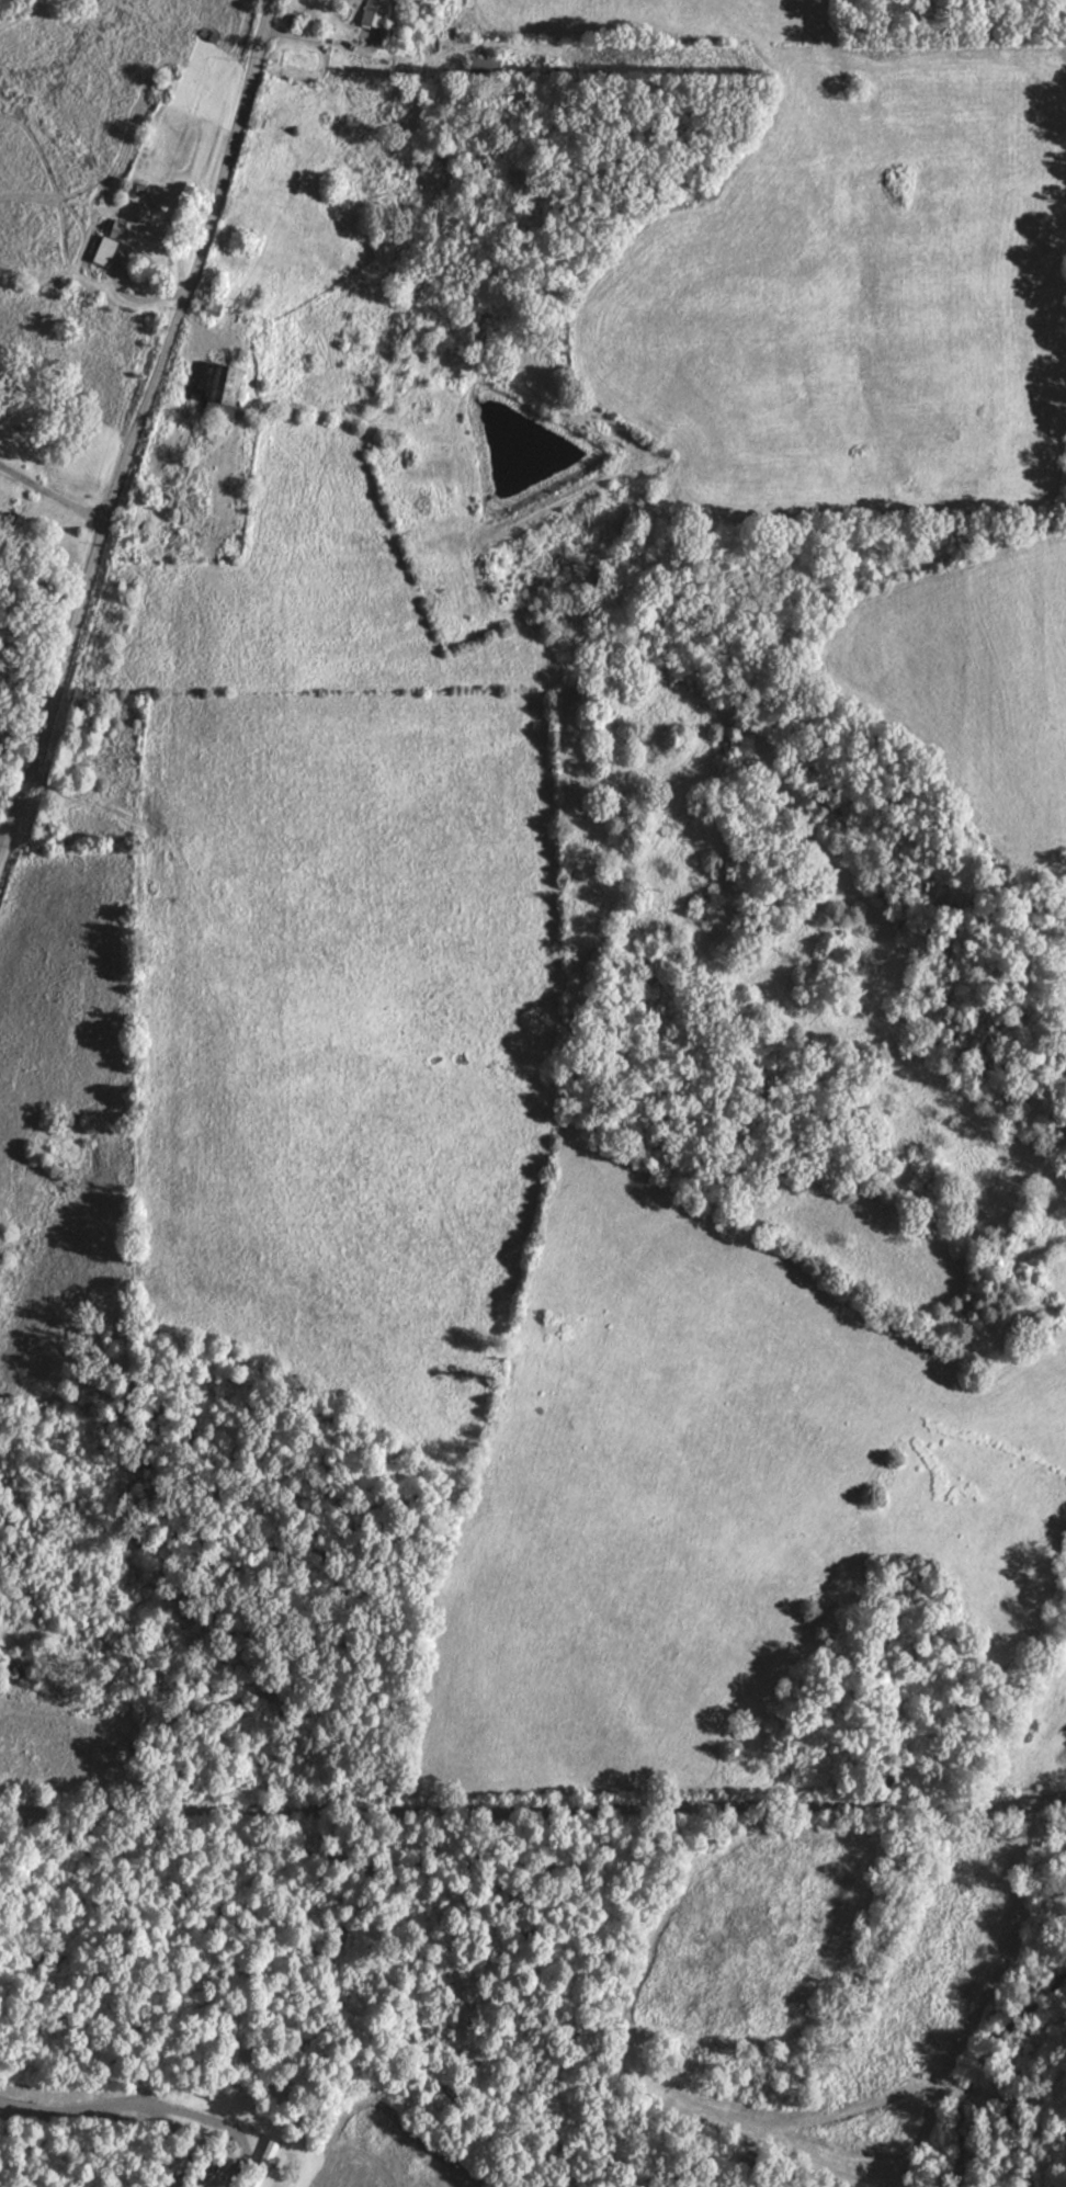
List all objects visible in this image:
building: (375, 12)
building: (486, 68)
building: (152, 213)
building: (111, 241)
building: (215, 308)
building: (226, 392)
road: (136, 428)
road: (53, 490)
road: (4, 830)
road: (533, 1809)
building: (265, 2162)

